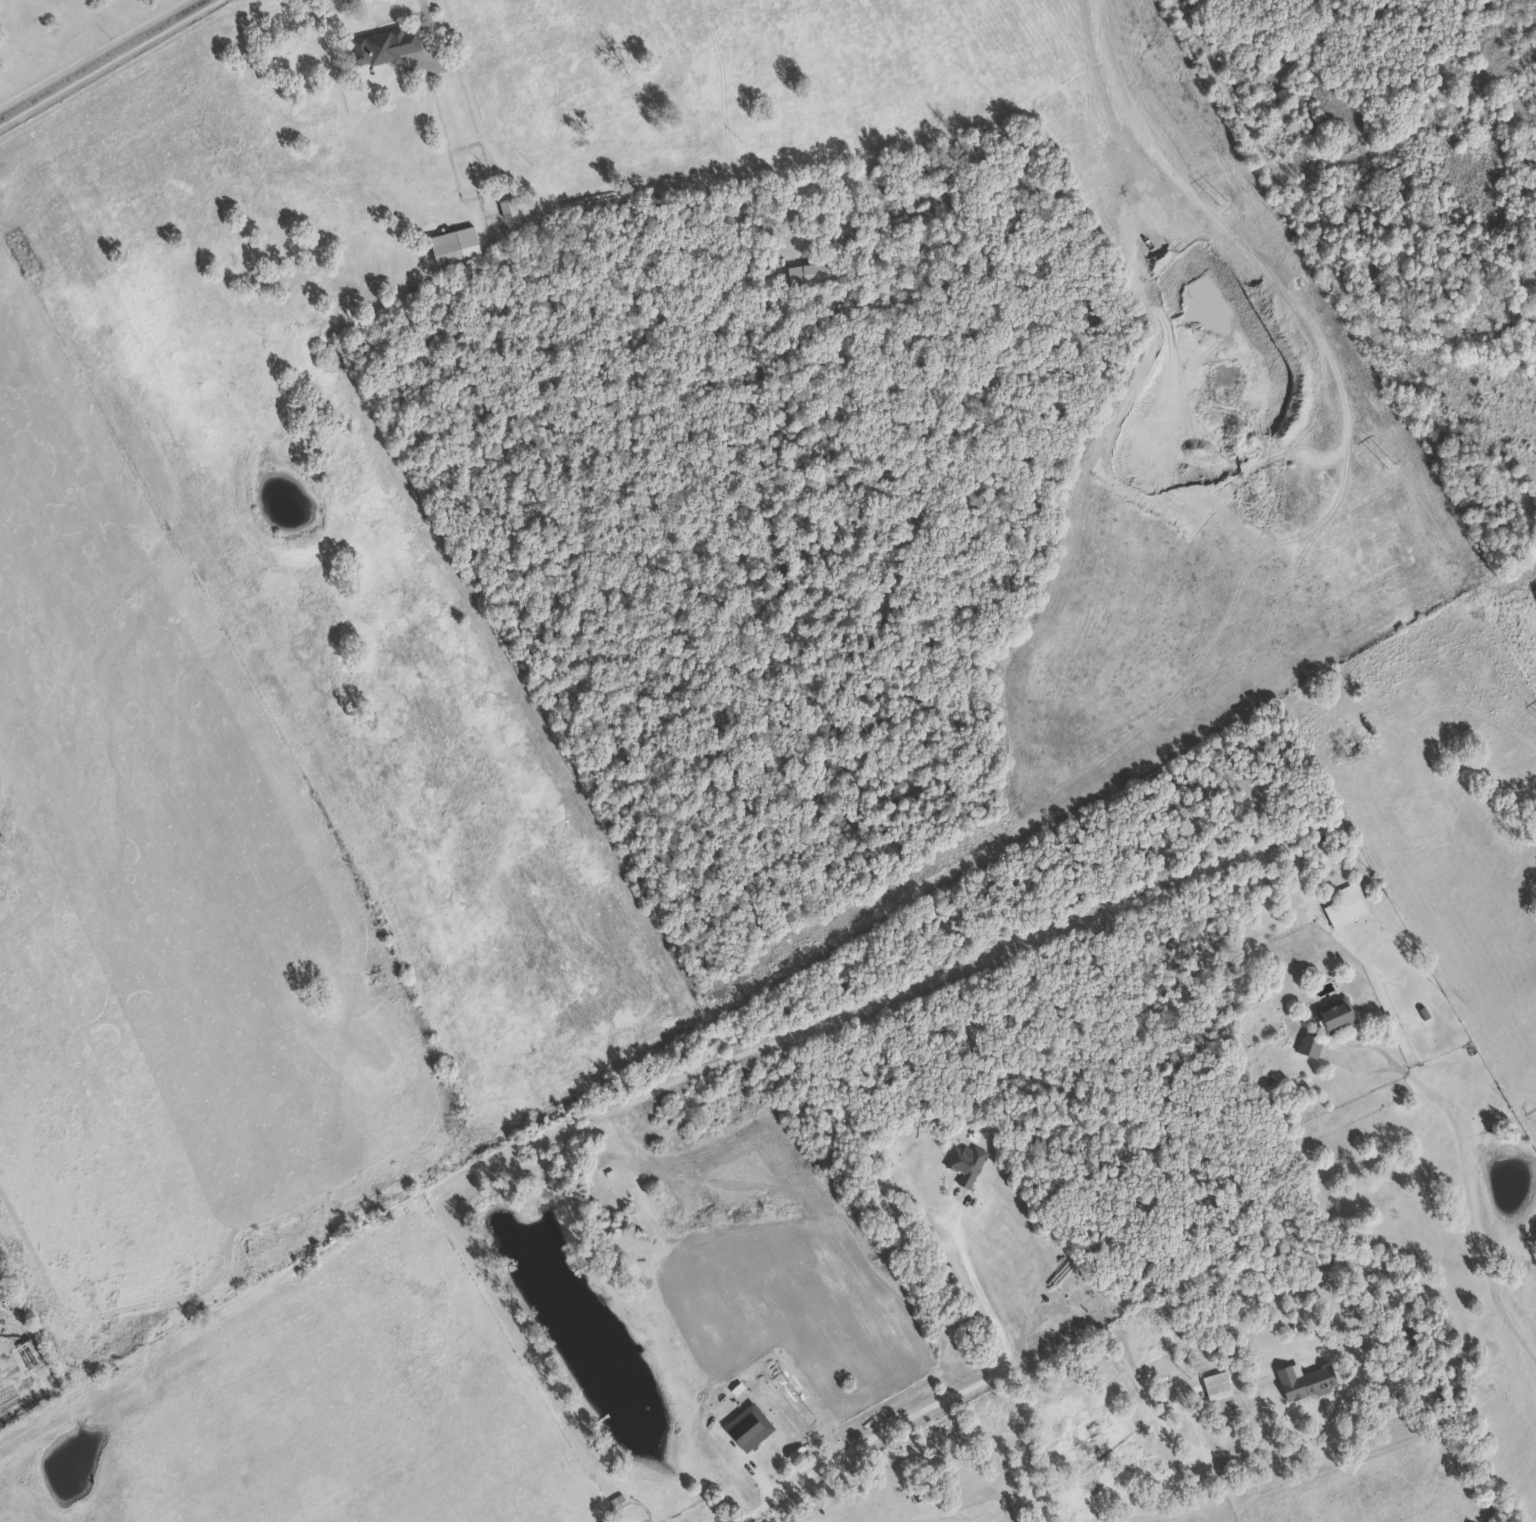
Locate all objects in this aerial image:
road: (427, 0)
building: (380, 45)
road: (106, 60)
road: (1240, 171)
building: (505, 207)
building: (443, 250)
building: (805, 272)
building: (1344, 903)
building: (1333, 1014)
building: (1306, 1045)
road: (1347, 1049)
building: (964, 1162)
road: (1473, 1208)
building: (1214, 1385)
road: (933, 1401)
road: (1237, 1449)

